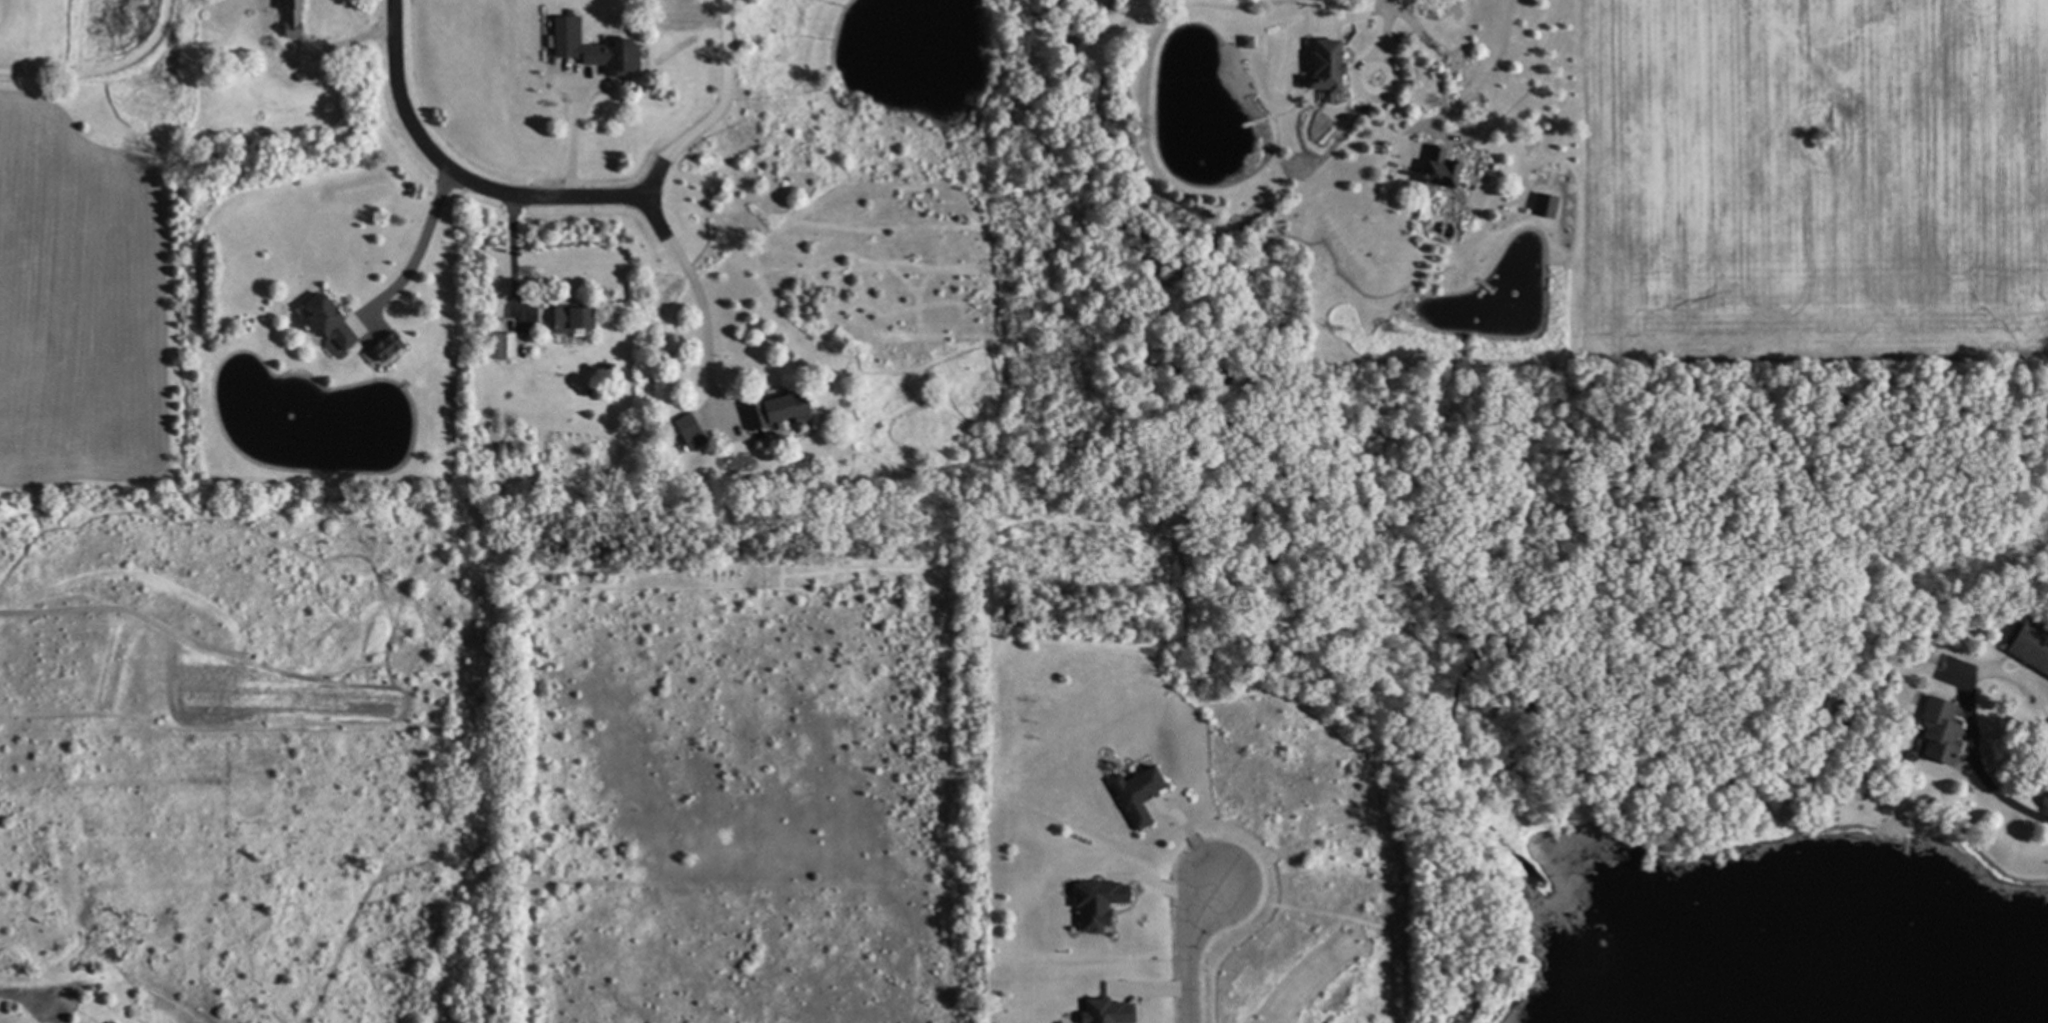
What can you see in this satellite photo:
building: (286, 20)
road: (1387, 25)
road: (339, 45)
building: (588, 49)
building: (1320, 67)
road: (1484, 72)
road: (710, 104)
road: (571, 127)
road: (461, 165)
building: (1435, 170)
building: (1545, 207)
road: (419, 236)
road: (509, 239)
road: (694, 283)
building: (380, 347)
building: (501, 347)
building: (773, 414)
building: (685, 432)
building: (2029, 649)
building: (1934, 733)
road: (1974, 764)
building: (1132, 796)
road: (1264, 851)
building: (1092, 904)
road: (1187, 948)
road: (28, 992)
building: (1101, 1012)

